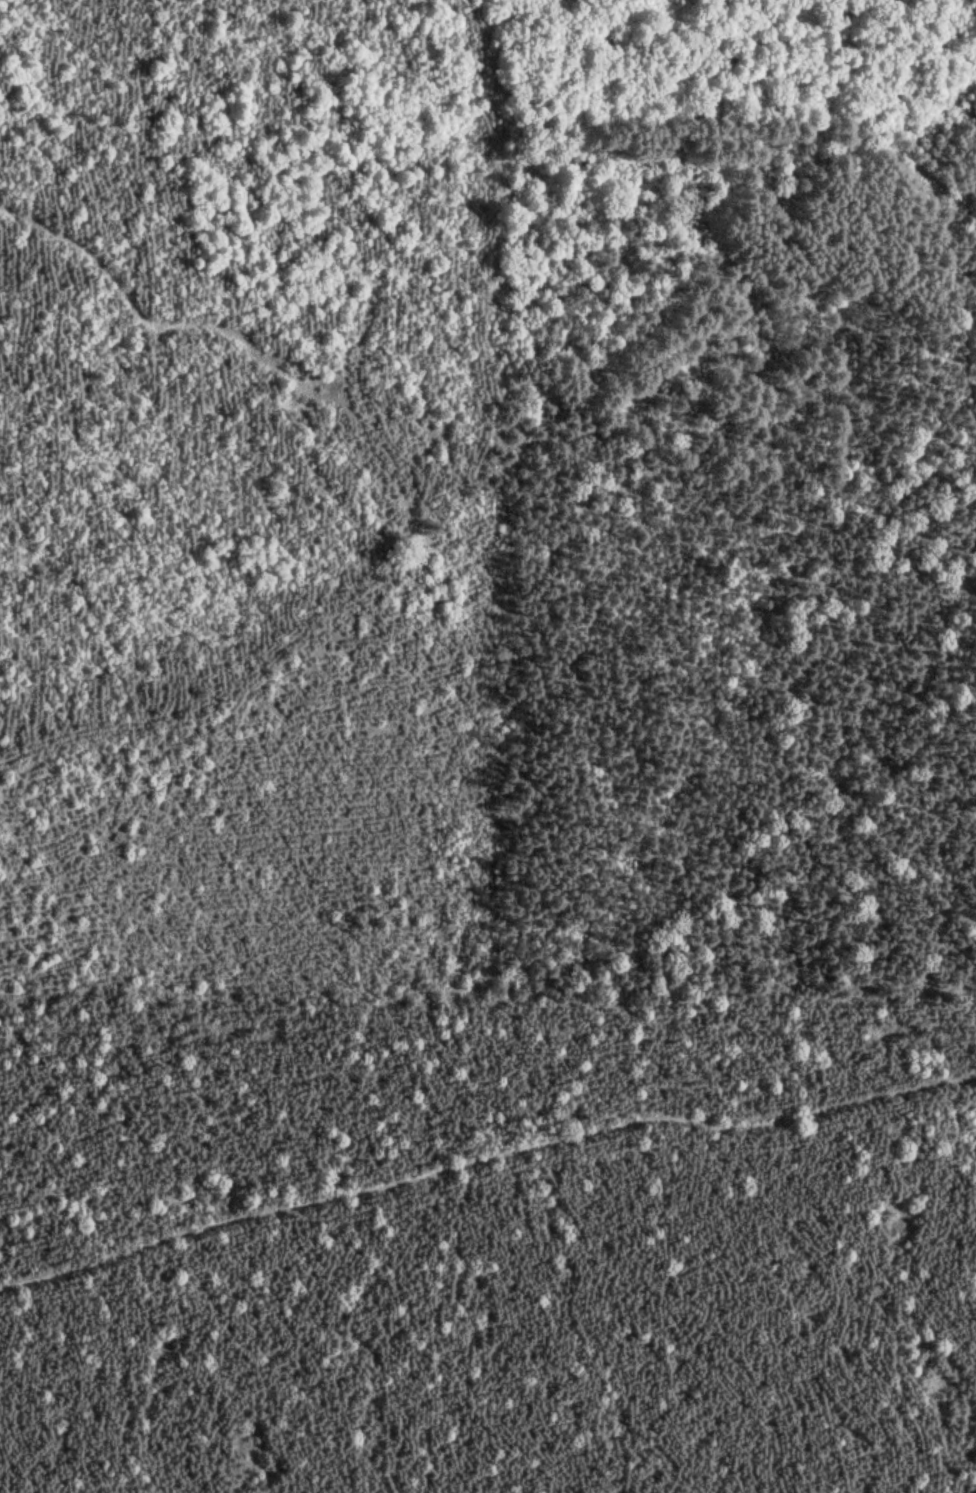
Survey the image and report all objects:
road: (485, 1156)

